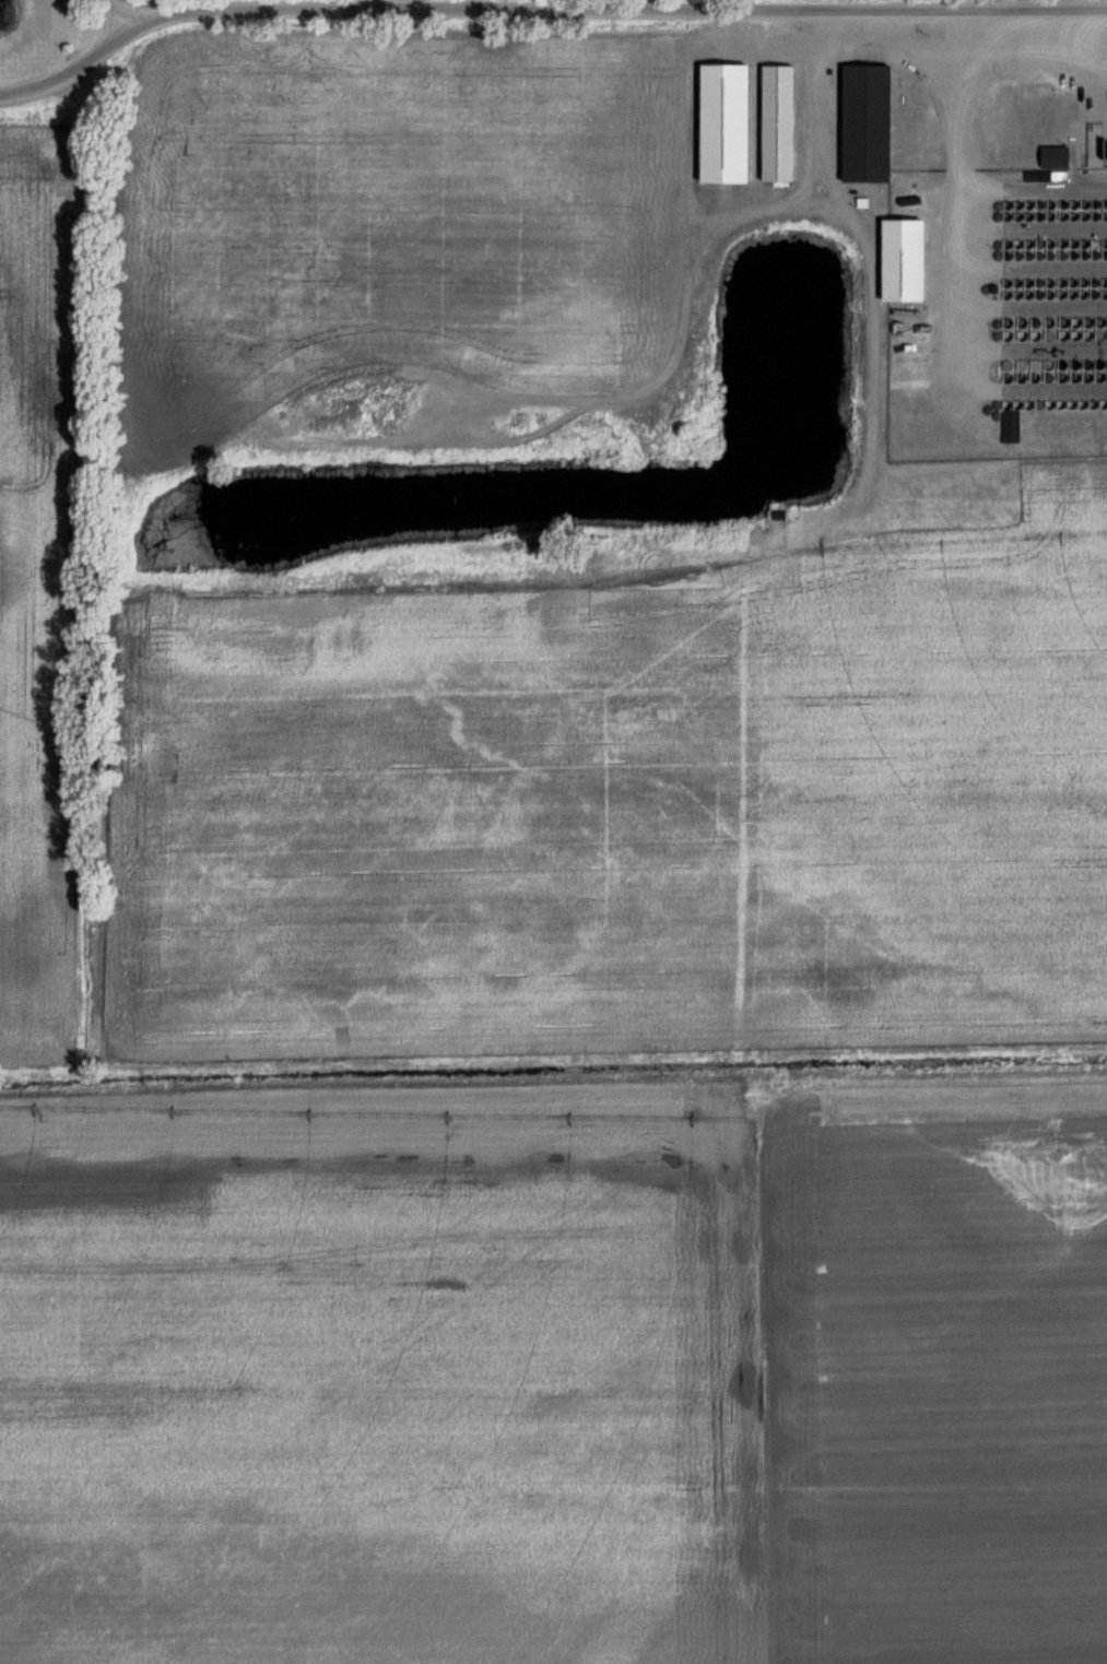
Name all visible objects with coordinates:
road: (125, 0)
road: (887, 3)
road: (1086, 3)
road: (184, 4)
road: (360, 4)
road: (565, 4)
road: (542, 10)
road: (125, 13)
road: (1012, 69)
road: (1085, 117)
building: (784, 123)
building: (872, 123)
building: (1059, 156)
road: (1035, 189)
storage tank: (1055, 204)
storage tank: (1064, 204)
storage tank: (1075, 204)
storage tank: (1086, 204)
storage tank: (1097, 204)
storage tank: (1105, 204)
storage tank: (1011, 205)
storage tank: (1022, 205)
storage tank: (1032, 205)
storage tank: (1044, 205)
road: (817, 206)
storage tank: (1075, 215)
storage tank: (1096, 215)
storage tank: (1105, 215)
storage tank: (1032, 216)
storage tank: (1044, 216)
storage tank: (1055, 216)
storage tank: (1064, 216)
storage tank: (1086, 216)
storage tank: (1011, 217)
storage tank: (1022, 217)
road: (1035, 231)
road: (964, 240)
storage tank: (1076, 243)
storage tank: (1105, 243)
storage tank: (1033, 244)
storage tank: (1044, 244)
storage tank: (1055, 244)
storage tank: (1064, 244)
storage tank: (1086, 244)
storage tank: (1097, 244)
storage tank: (1011, 245)
storage tank: (1022, 245)
storage tank: (1032, 255)
storage tank: (1043, 255)
storage tank: (1055, 255)
storage tank: (1064, 255)
storage tank: (1075, 255)
storage tank: (1086, 255)
storage tank: (1096, 255)
storage tank: (1105, 255)
storage tank: (1011, 256)
storage tank: (1022, 256)
road: (1036, 270)
storage tank: (1075, 282)
storage tank: (1085, 282)
storage tank: (1096, 282)
storage tank: (1105, 282)
storage tank: (1031, 283)
storage tank: (1043, 283)
storage tank: (1053, 283)
storage tank: (1063, 283)
storage tank: (1011, 284)
storage tank: (1021, 284)
storage tank: (1074, 293)
storage tank: (1105, 293)
storage tank: (1031, 294)
storage tank: (1043, 294)
storage tank: (1052, 294)
storage tank: (1063, 294)
storage tank: (1085, 294)
storage tank: (1096, 294)
storage tank: (1010, 295)
storage tank: (1021, 295)
road: (1036, 310)
storage tank: (1029, 322)
storage tank: (1040, 322)
storage tank: (1051, 322)
storage tank: (1062, 322)
storage tank: (1073, 322)
storage tank: (1084, 322)
storage tank: (1094, 322)
storage tank: (1104, 322)
storage tank: (1009, 323)
storage tank: (1018, 323)
storage tank: (1051, 333)
storage tank: (1062, 333)
storage tank: (1073, 333)
storage tank: (1083, 333)
storage tank: (1094, 333)
storage tank: (1104, 333)
storage tank: (1009, 334)
storage tank: (1018, 334)
storage tank: (1029, 334)
storage tank: (1040, 334)
road: (1036, 350)
road: (660, 357)
storage tank: (1023, 364)
storage tank: (1037, 364)
storage tank: (1050, 364)
storage tank: (1062, 364)
storage tank: (1076, 364)
storage tank: (1088, 364)
storage tank: (1100, 364)
storage tank: (1010, 365)
road: (876, 375)
storage tank: (1077, 376)
storage tank: (1102, 376)
storage tank: (1010, 377)
storage tank: (1024, 377)
storage tank: (1037, 377)
storage tank: (1050, 377)
storage tank: (1063, 377)
storage tank: (1090, 377)
storage tank: (1052, 403)
storage tank: (1062, 403)
storage tank: (1074, 403)
storage tank: (1084, 403)
storage tank: (1095, 403)
storage tank: (1104, 403)
storage tank: (1029, 404)
storage tank: (1041, 404)
storage tank: (1010, 405)
storage tank: (1020, 405)
building: (1013, 426)

